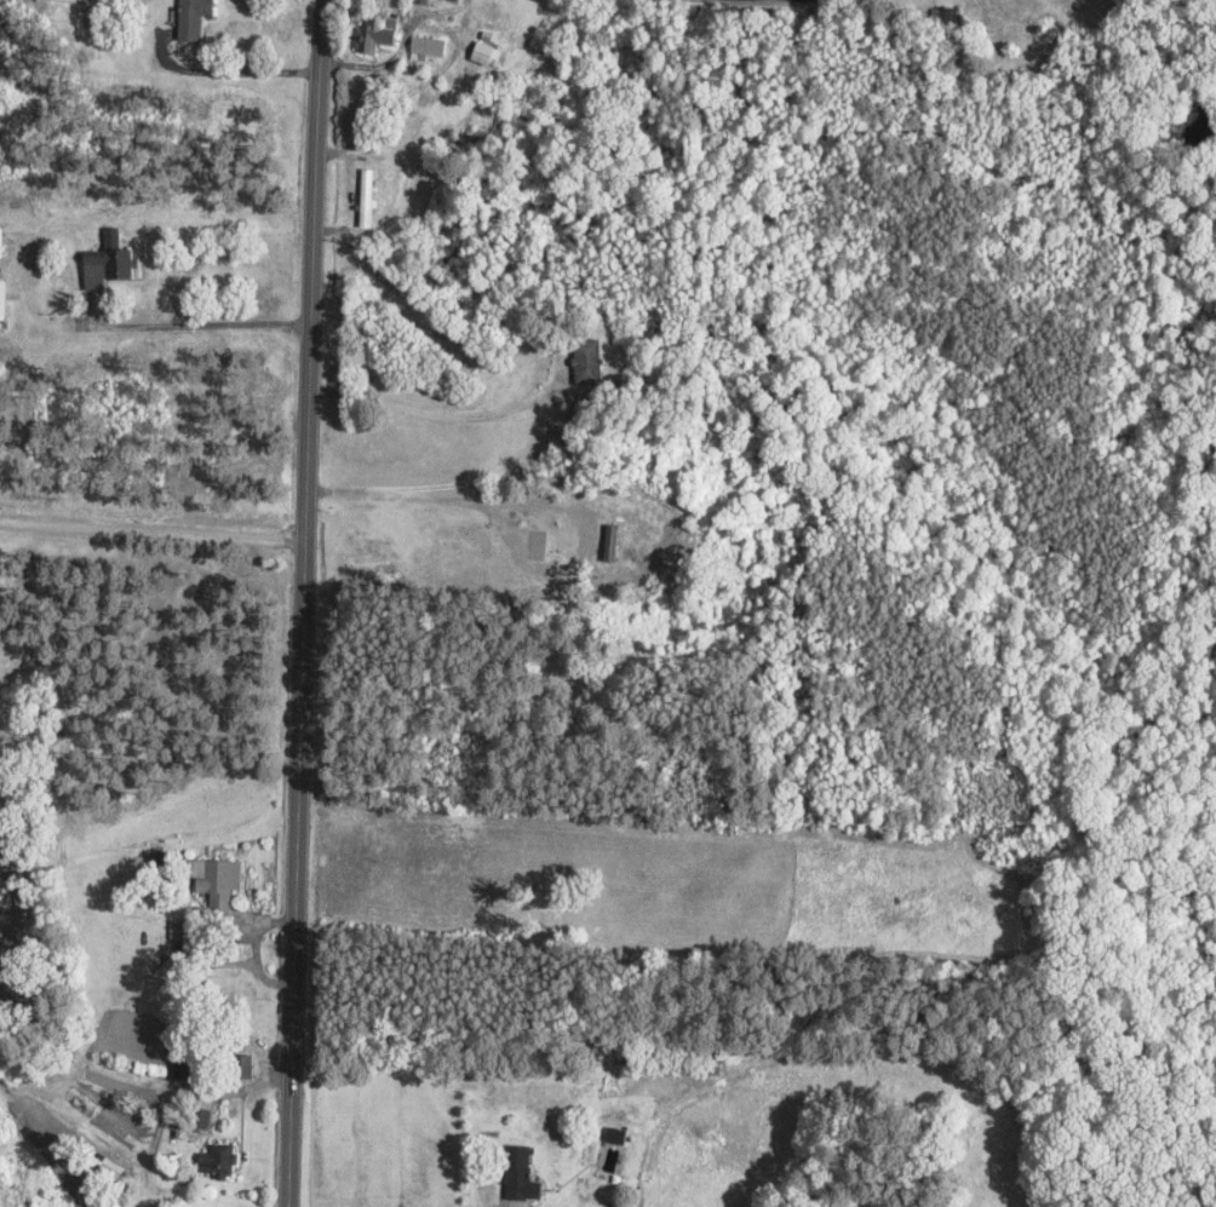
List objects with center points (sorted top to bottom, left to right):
building: (194, 18)
building: (374, 35)
building: (429, 47)
building: (488, 54)
building: (371, 197)
building: (108, 268)
building: (589, 362)
road: (157, 523)
road: (312, 603)
building: (219, 883)
building: (243, 1067)
building: (707, 1068)
building: (202, 1119)
building: (219, 1162)
building: (516, 1174)

